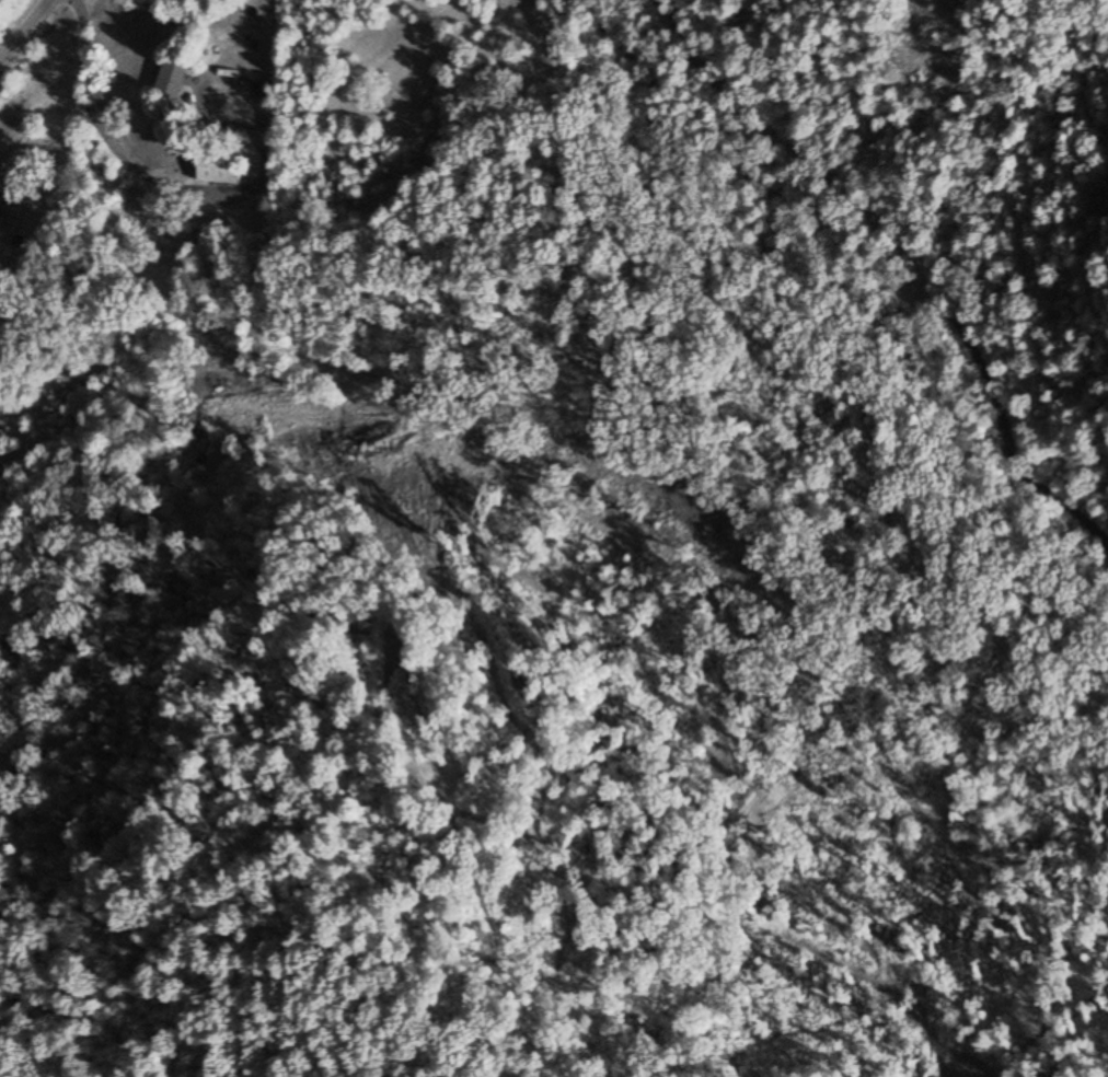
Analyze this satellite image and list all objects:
road: (31, 26)
road: (216, 73)
building: (173, 80)
road: (138, 164)
building: (220, 167)
building: (1, 194)

